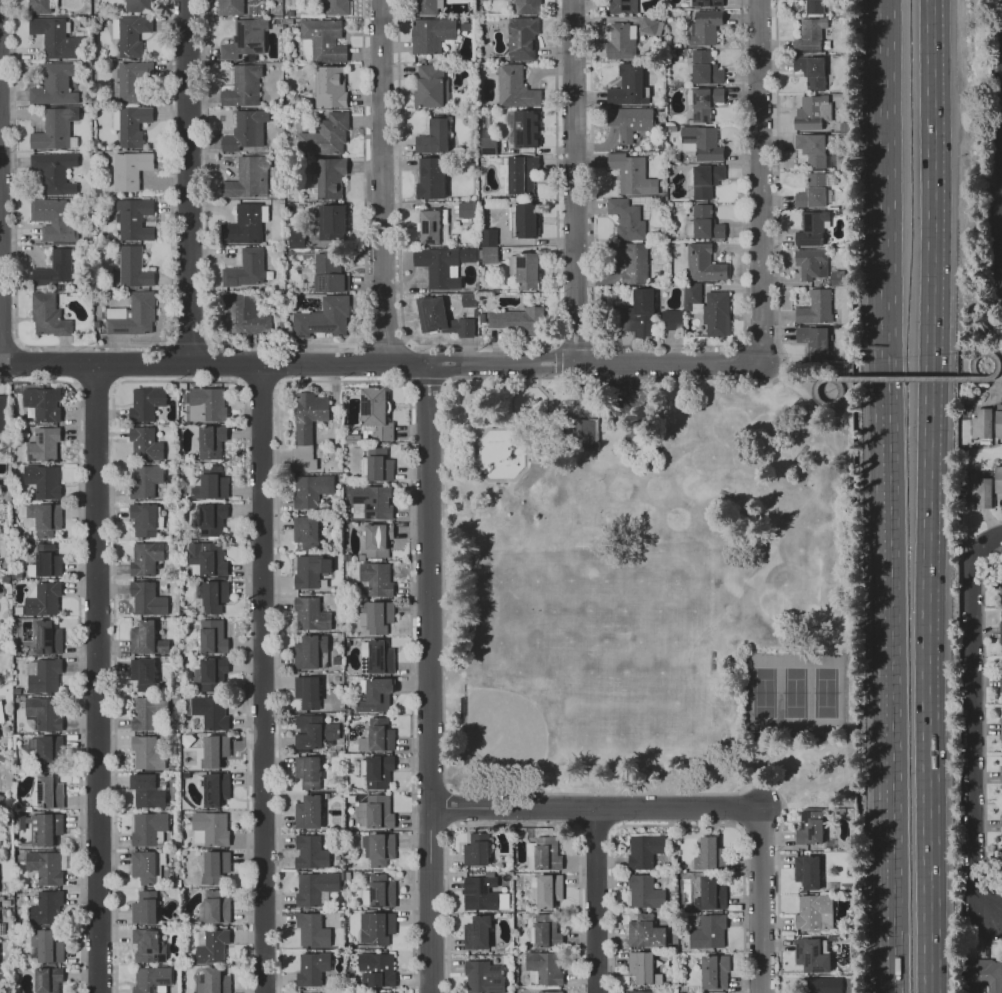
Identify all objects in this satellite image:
building: (483, 0)
building: (705, 3)
building: (137, 6)
building: (815, 6)
building: (42, 7)
building: (337, 7)
building: (424, 7)
building: (528, 7)
building: (623, 7)
building: (231, 8)
building: (290, 13)
building: (687, 13)
building: (463, 20)
building: (288, 21)
building: (466, 26)
building: (651, 26)
building: (706, 28)
building: (130, 34)
building: (432, 35)
building: (810, 35)
building: (55, 38)
building: (522, 38)
building: (245, 39)
building: (322, 41)
building: (622, 42)
building: (705, 69)
building: (811, 72)
building: (129, 82)
building: (53, 85)
building: (629, 86)
building: (243, 87)
building: (330, 87)
building: (431, 88)
building: (515, 88)
building: (704, 103)
building: (813, 112)
building: (279, 114)
building: (631, 122)
building: (131, 125)
building: (523, 128)
building: (672, 129)
building: (53, 130)
building: (246, 130)
building: (326, 136)
building: (434, 137)
building: (487, 143)
building: (702, 143)
building: (814, 149)
building: (675, 157)
building: (668, 167)
building: (131, 170)
building: (54, 172)
building: (519, 174)
building: (632, 174)
building: (248, 178)
building: (431, 178)
building: (328, 179)
building: (705, 180)
road: (573, 181)
road: (758, 181)
road: (1001, 181)
road: (187, 182)
road: (383, 182)
building: (277, 190)
building: (815, 191)
building: (289, 195)
building: (846, 205)
road: (888, 207)
building: (467, 209)
road: (364, 211)
building: (850, 214)
building: (52, 217)
building: (332, 219)
building: (627, 219)
building: (134, 220)
building: (523, 220)
building: (246, 224)
building: (704, 224)
building: (432, 226)
building: (812, 228)
building: (488, 237)
building: (295, 239)
building: (489, 255)
building: (632, 261)
building: (704, 263)
building: (811, 263)
building: (134, 267)
building: (439, 267)
building: (527, 267)
building: (56, 269)
building: (246, 269)
building: (330, 272)
building: (839, 278)
building: (664, 282)
building: (847, 289)
building: (274, 295)
building: (469, 299)
building: (815, 308)
building: (708, 309)
building: (133, 315)
building: (243, 315)
building: (636, 315)
building: (48, 316)
building: (323, 318)
building: (441, 318)
building: (673, 320)
building: (519, 322)
building: (282, 327)
building: (813, 340)
road: (387, 343)
road: (576, 343)
road: (18, 344)
road: (8, 345)
road: (481, 345)
road: (93, 346)
road: (668, 346)
road: (554, 359)
road: (929, 360)
road: (606, 361)
road: (594, 364)
road: (214, 365)
road: (589, 377)
road: (785, 379)
road: (824, 379)
road: (906, 379)
road: (997, 379)
road: (986, 380)
building: (145, 402)
building: (43, 403)
building: (206, 404)
building: (375, 412)
building: (2, 416)
building: (998, 421)
building: (982, 424)
building: (306, 427)
building: (583, 434)
building: (210, 441)
building: (42, 444)
building: (144, 444)
building: (533, 454)
building: (378, 464)
building: (42, 480)
building: (144, 480)
building: (998, 482)
building: (210, 483)
building: (310, 489)
building: (981, 492)
building: (371, 500)
building: (143, 518)
building: (211, 518)
building: (46, 519)
building: (304, 529)
building: (377, 539)
building: (207, 557)
building: (145, 558)
building: (46, 560)
building: (310, 569)
building: (375, 577)
park: (648, 585)
building: (1000, 586)
building: (0, 592)
building: (213, 596)
building: (146, 598)
building: (42, 599)
building: (310, 614)
building: (376, 615)
building: (1000, 632)
building: (211, 636)
building: (47, 637)
building: (145, 638)
building: (310, 651)
road: (78, 652)
building: (379, 657)
building: (212, 669)
building: (142, 672)
building: (41, 675)
road: (95, 678)
road: (429, 678)
building: (1001, 678)
road: (261, 680)
building: (307, 692)
park: (533, 692)
park: (763, 692)
park: (794, 692)
park: (824, 692)
building: (375, 695)
building: (1001, 699)
road: (893, 703)
building: (146, 711)
building: (207, 711)
building: (1, 712)
building: (43, 712)
road: (983, 721)
road: (977, 723)
building: (313, 731)
building: (1001, 732)
building: (379, 734)
building: (45, 750)
building: (214, 750)
building: (146, 753)
building: (377, 770)
building: (307, 771)
building: (1000, 776)
building: (215, 788)
building: (146, 791)
building: (48, 792)
road: (686, 810)
building: (373, 811)
building: (307, 812)
building: (1000, 824)
building: (47, 828)
building: (209, 828)
building: (809, 828)
building: (380, 848)
building: (475, 849)
building: (643, 850)
building: (309, 852)
building: (708, 852)
building: (543, 853)
road: (926, 857)
building: (999, 864)
building: (215, 865)
building: (44, 866)
building: (146, 866)
building: (806, 871)
building: (313, 886)
building: (380, 890)
building: (548, 890)
building: (643, 891)
building: (479, 892)
building: (710, 894)
road: (596, 901)
building: (215, 906)
building: (143, 907)
building: (45, 908)
building: (813, 912)
building: (375, 927)
building: (312, 928)
building: (2, 929)
building: (546, 930)
building: (644, 931)
building: (707, 931)
building: (476, 932)
road: (985, 942)
building: (210, 945)
building: (44, 946)
building: (146, 946)
building: (813, 957)
building: (543, 966)
building: (311, 968)
building: (377, 968)
building: (641, 968)
building: (713, 972)
building: (2, 973)
building: (982, 975)
building: (482, 977)
building: (150, 979)
building: (47, 980)
building: (212, 981)
building: (548, 991)
building: (640, 991)

